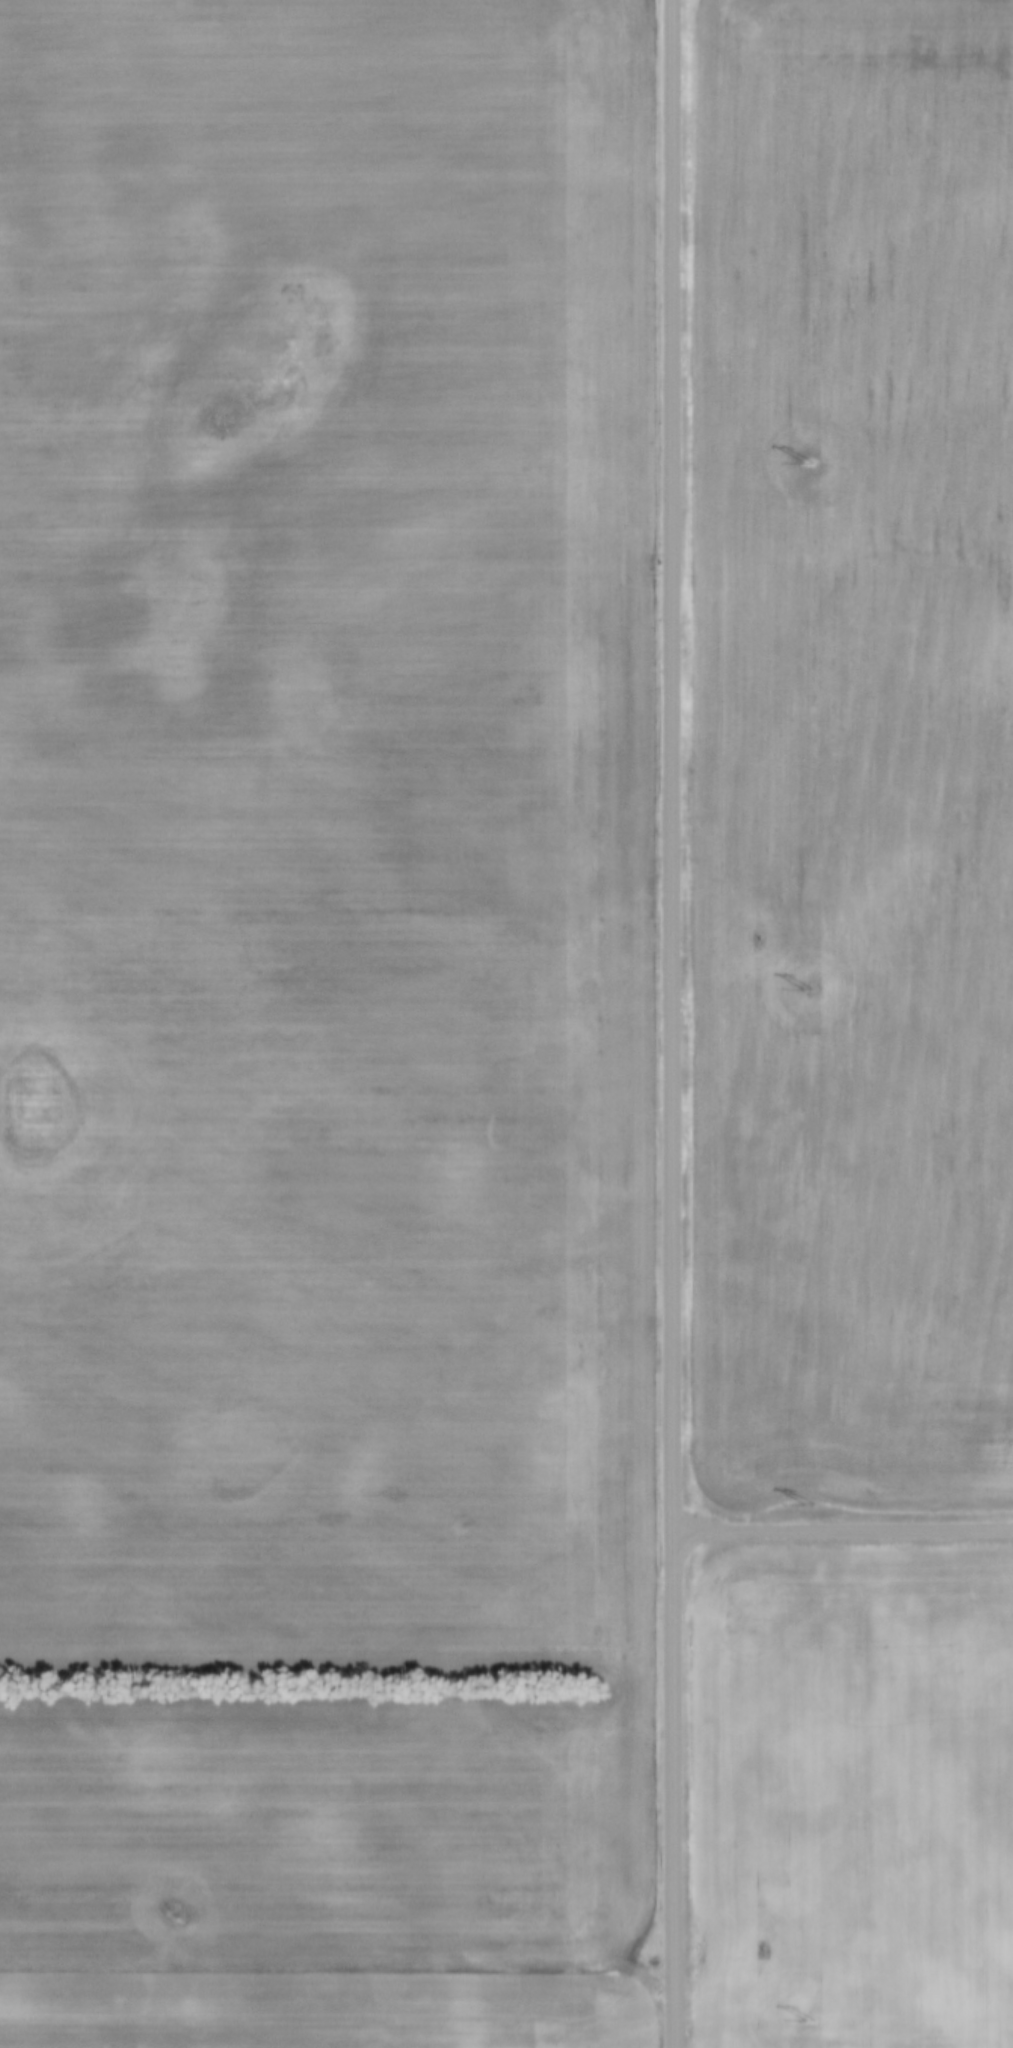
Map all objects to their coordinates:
road: (672, 1024)
road: (843, 1526)

